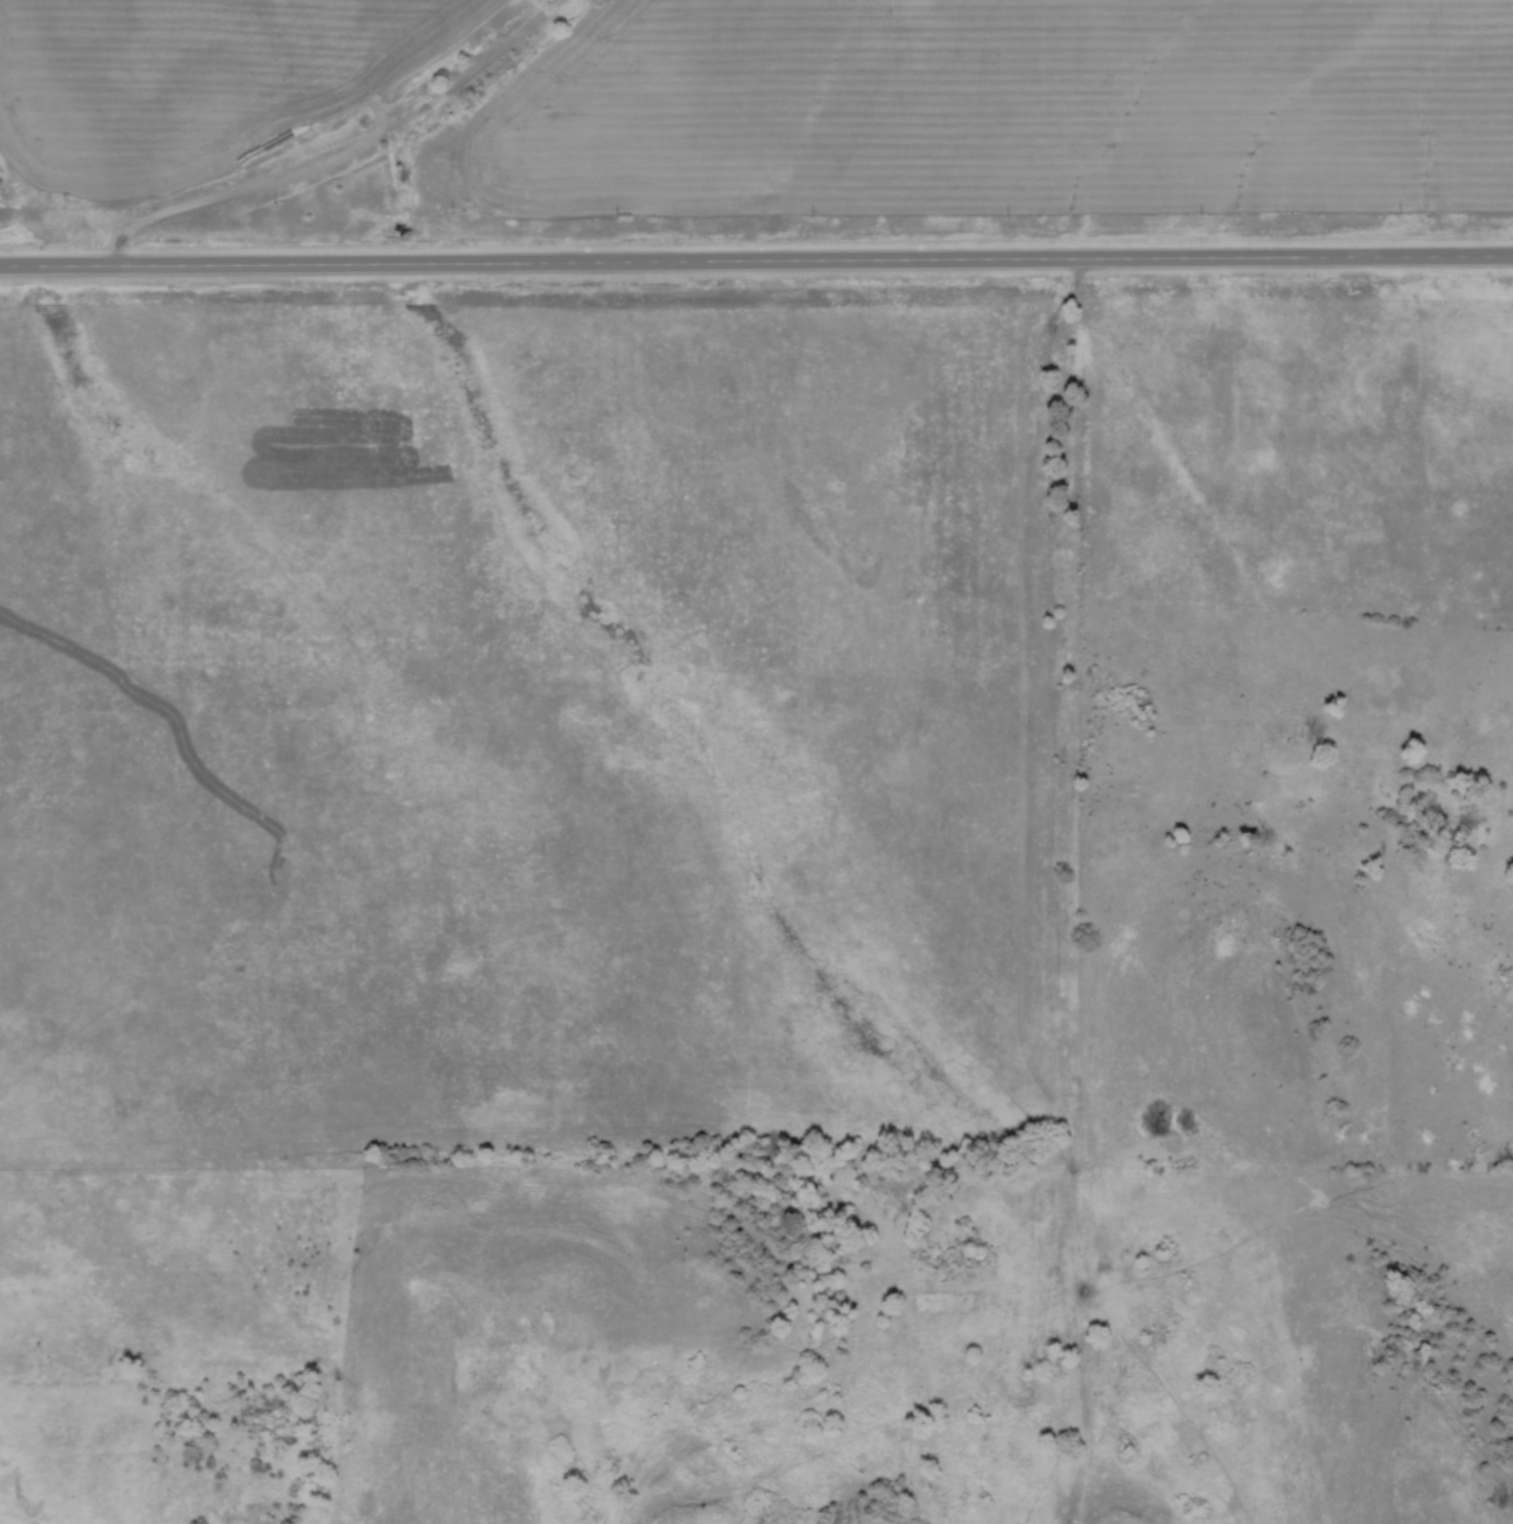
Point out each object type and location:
road: (756, 265)

